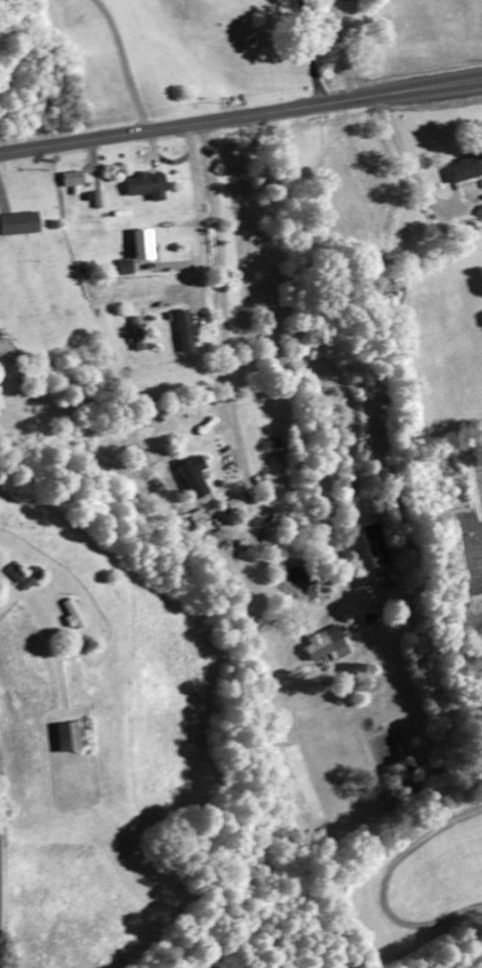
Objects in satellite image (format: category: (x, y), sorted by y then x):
building: (350, 0)
road: (241, 118)
building: (467, 170)
building: (147, 188)
building: (100, 202)
building: (19, 226)
road: (201, 227)
building: (144, 246)
building: (128, 269)
building: (187, 333)
building: (184, 412)
building: (194, 479)
building: (376, 547)
building: (14, 576)
building: (72, 617)
building: (328, 648)

